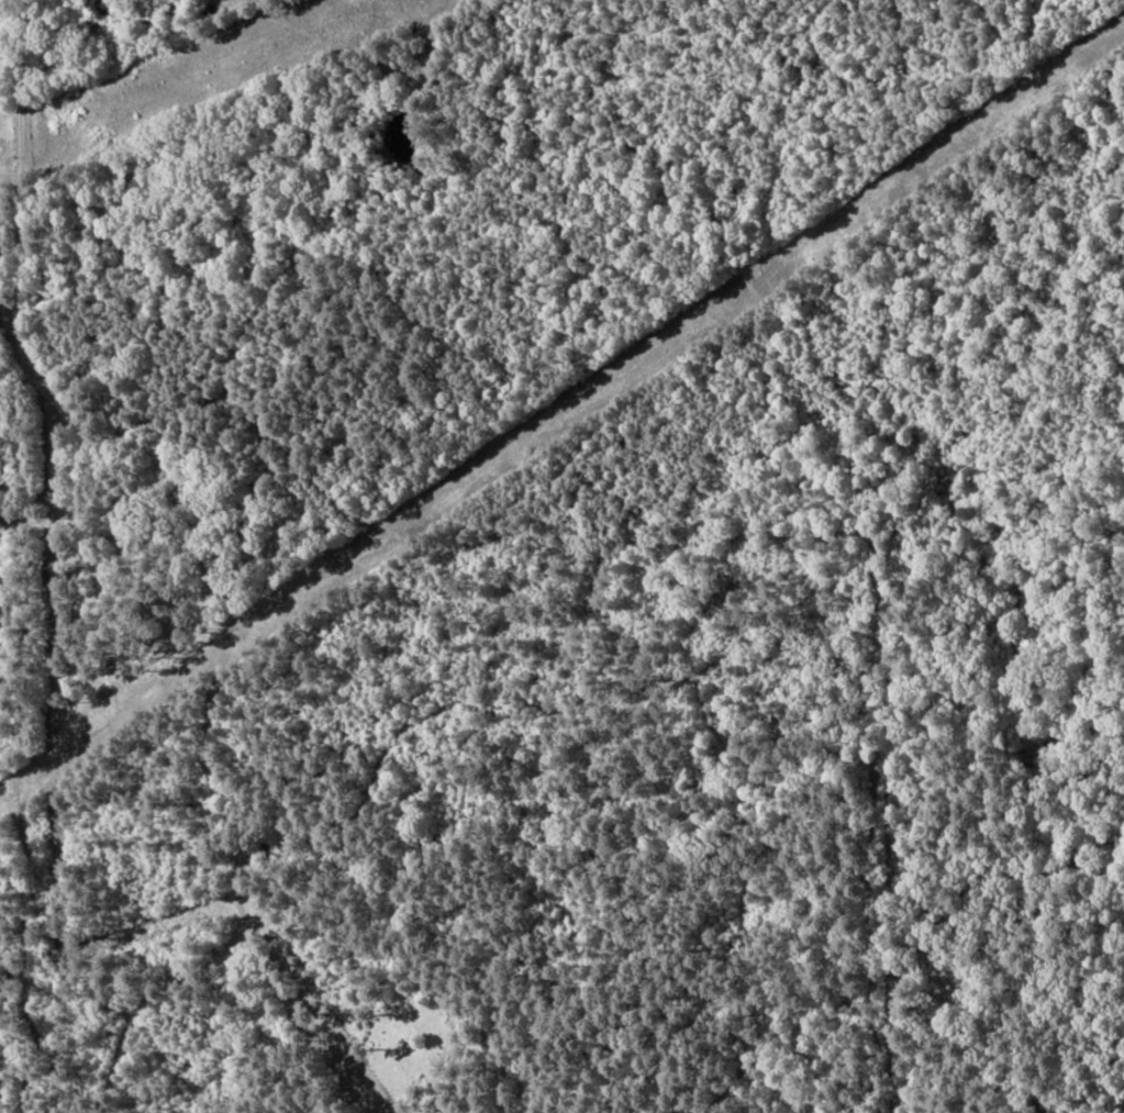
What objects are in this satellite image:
road: (343, 88)
road: (52, 468)

